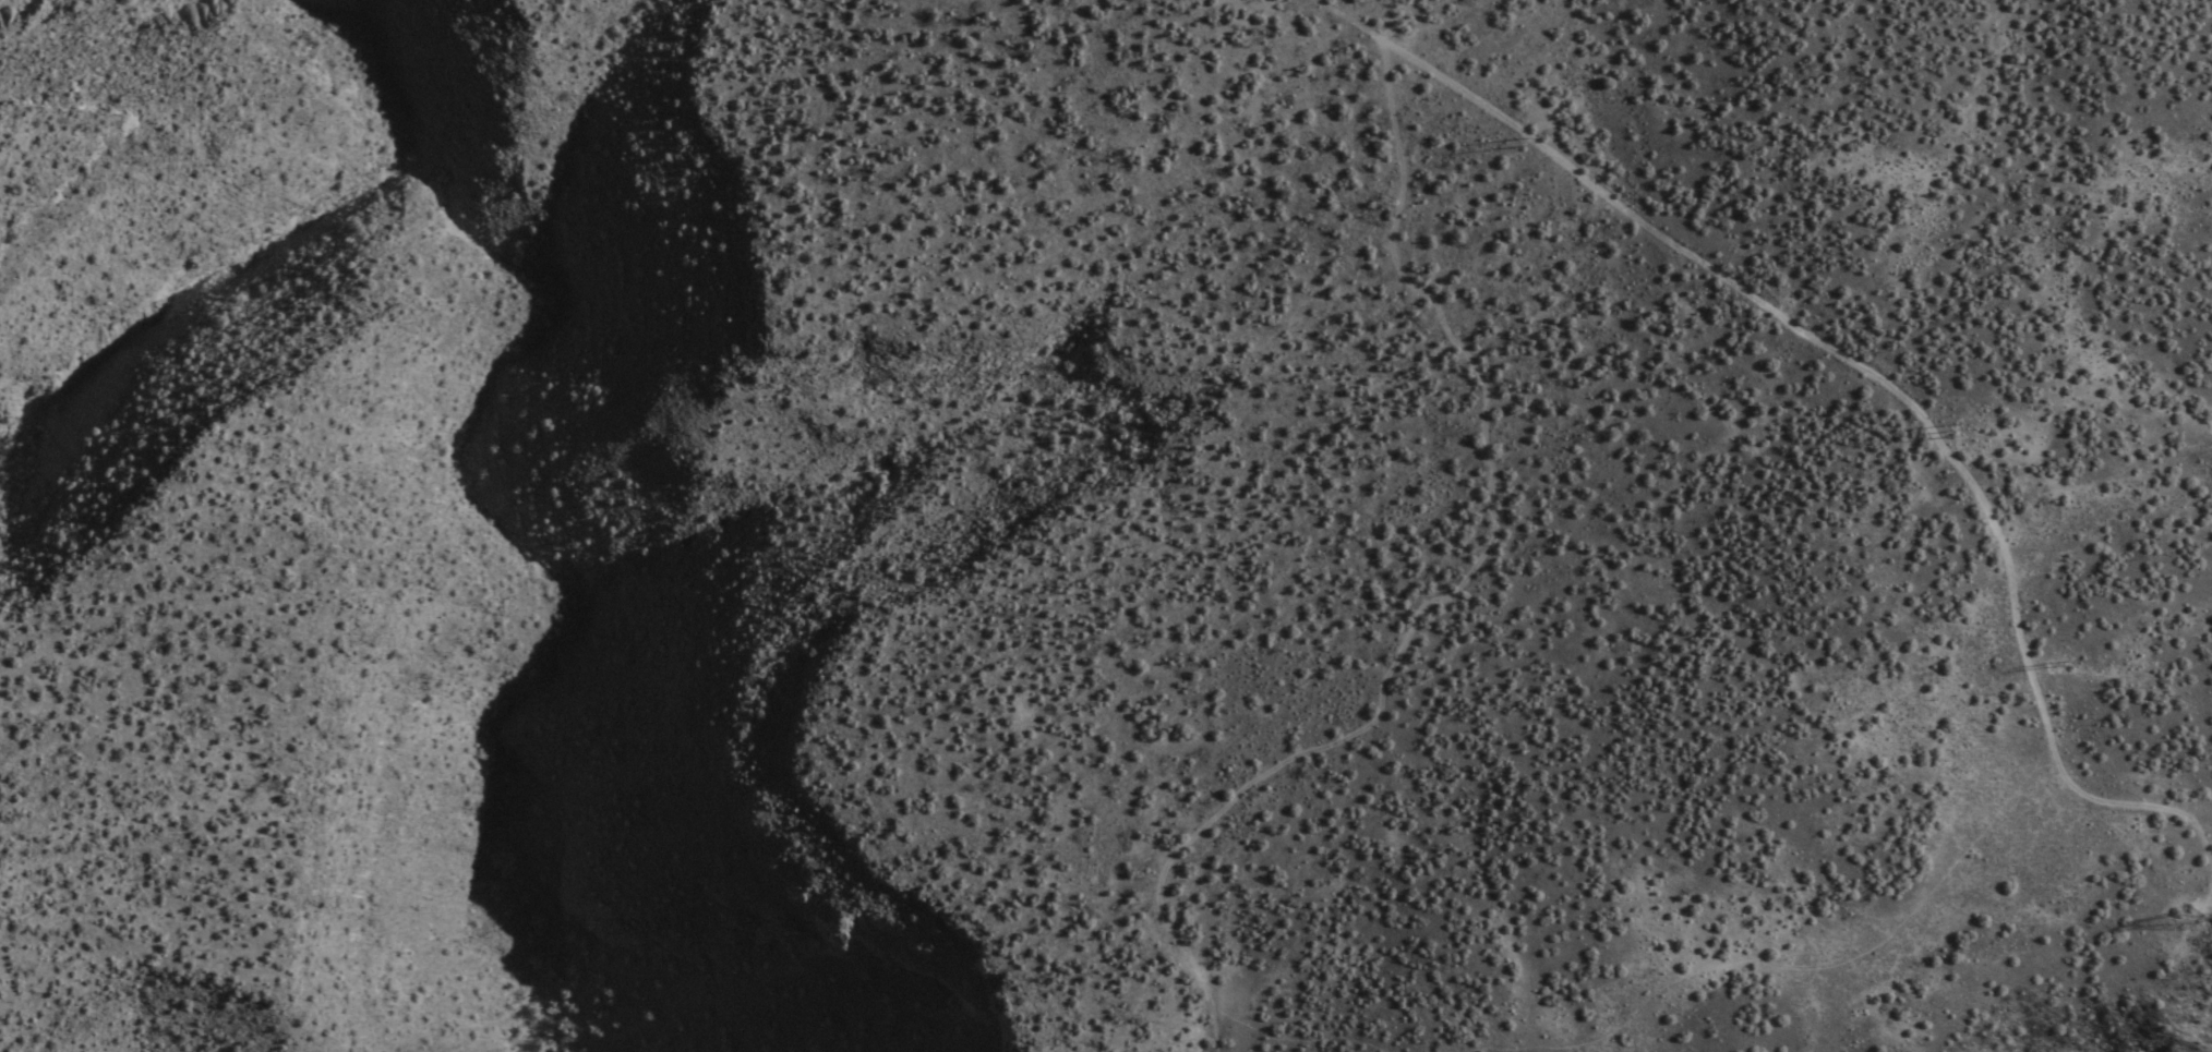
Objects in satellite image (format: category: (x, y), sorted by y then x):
road: (1846, 374)
road: (2093, 496)
road: (1455, 594)
power tower: (2175, 923)

